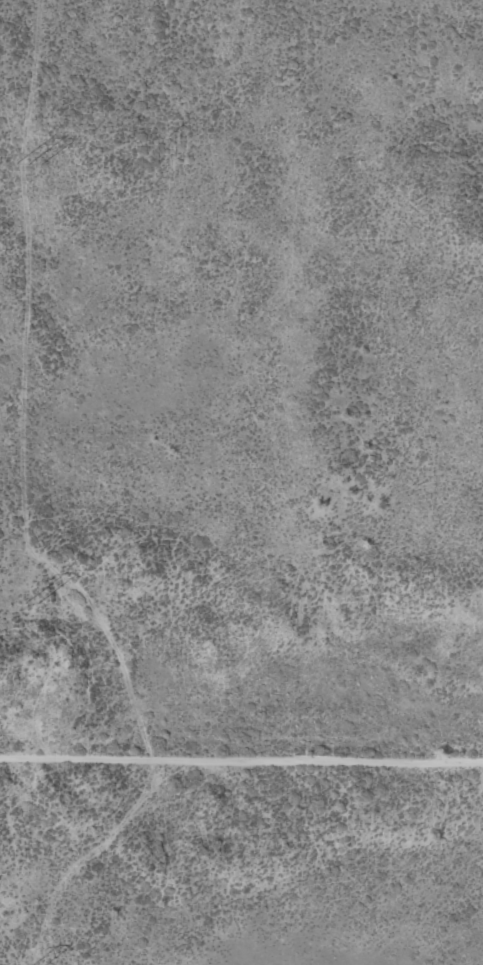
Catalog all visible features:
power tower: (27, 158)
power tower: (29, 598)

